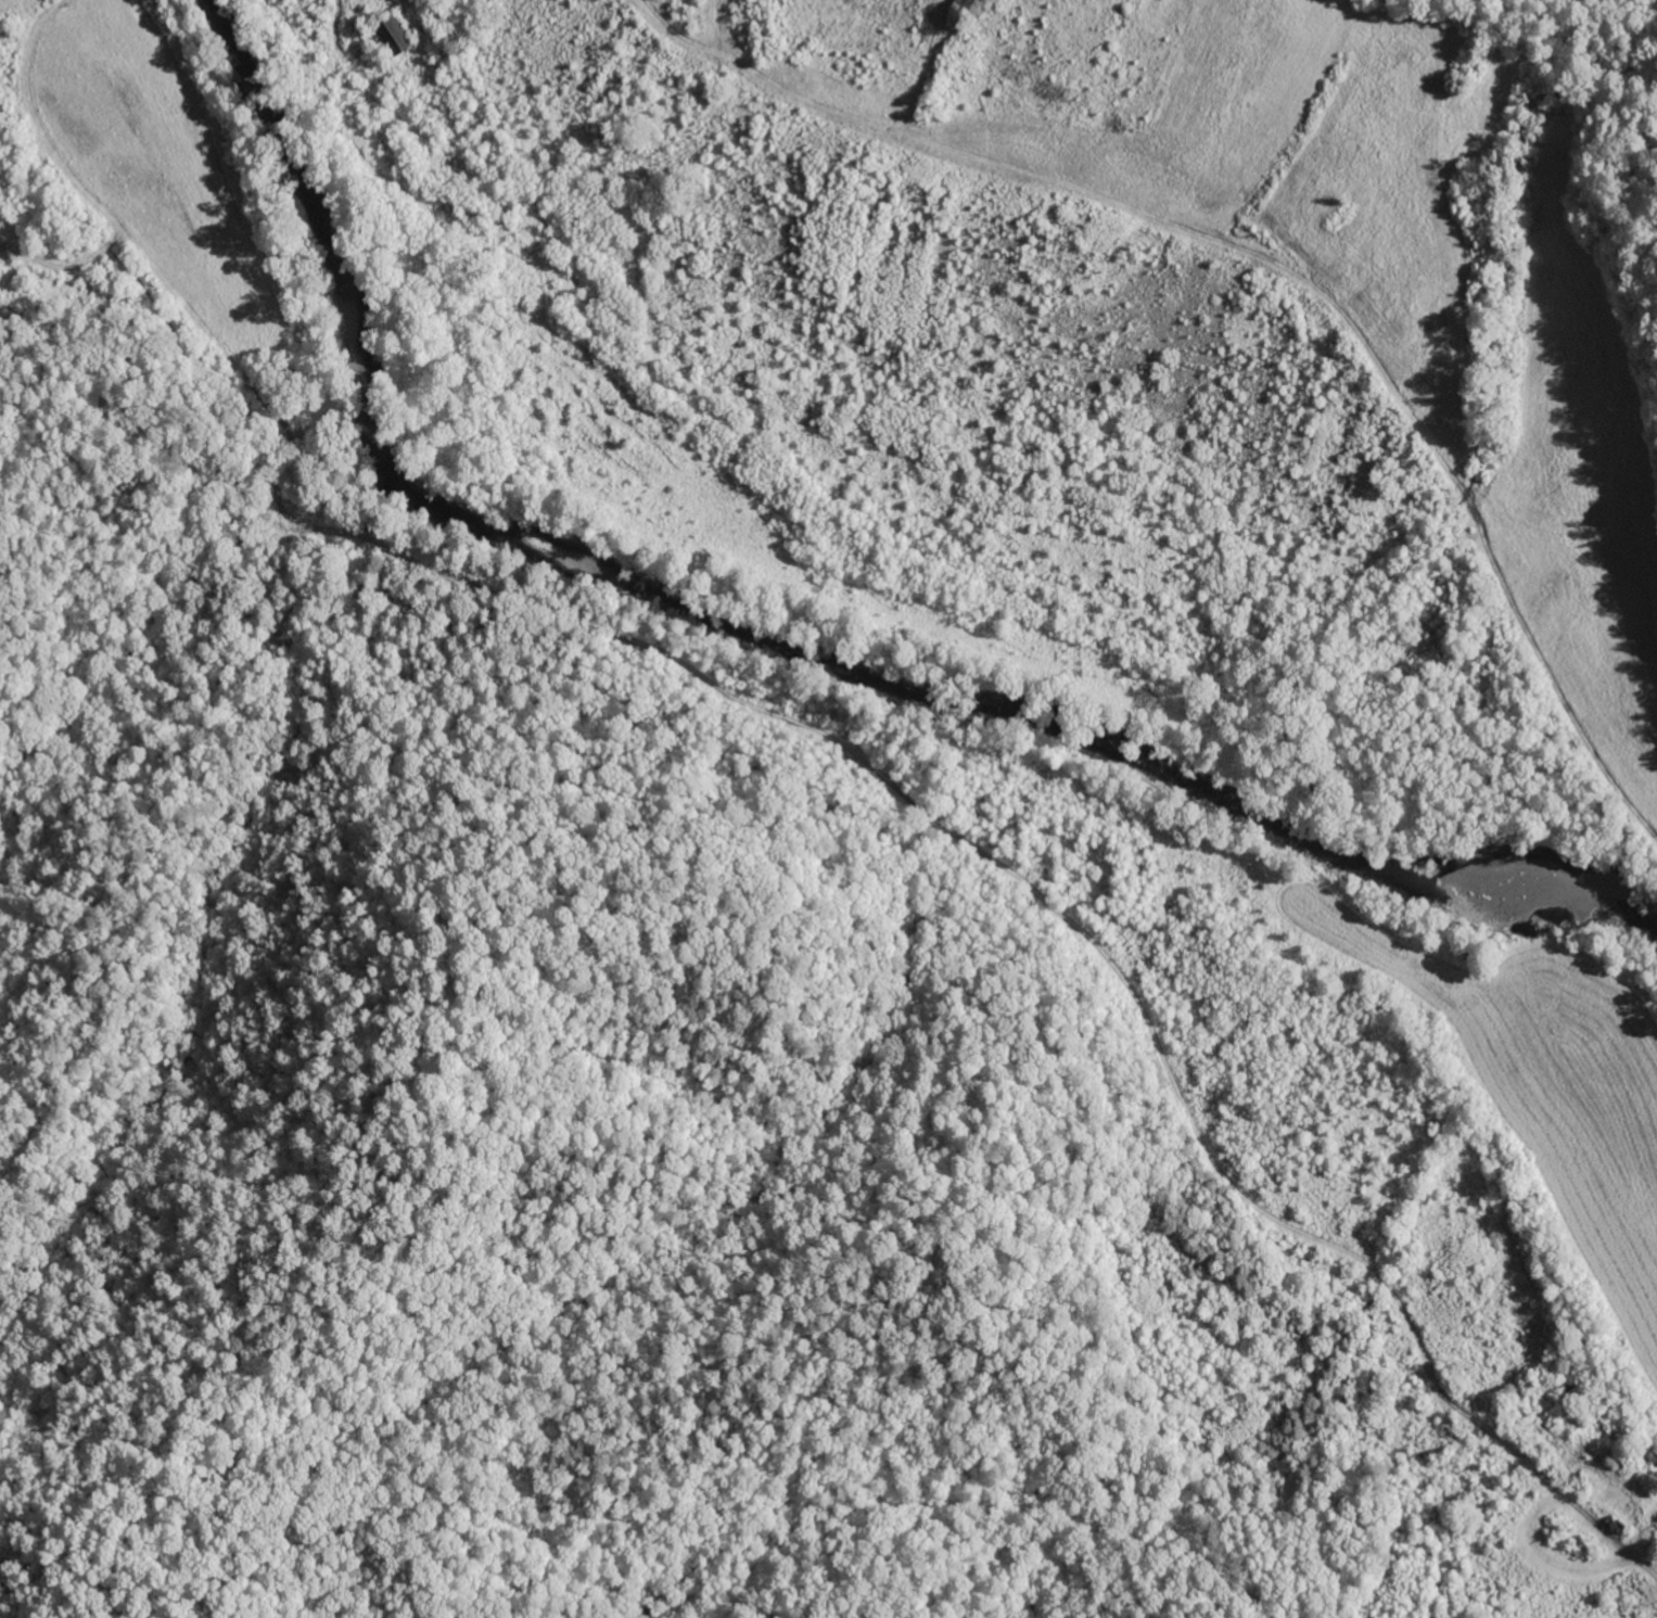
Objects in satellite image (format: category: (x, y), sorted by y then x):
road: (1008, 160)
road: (1567, 663)
road: (819, 698)

